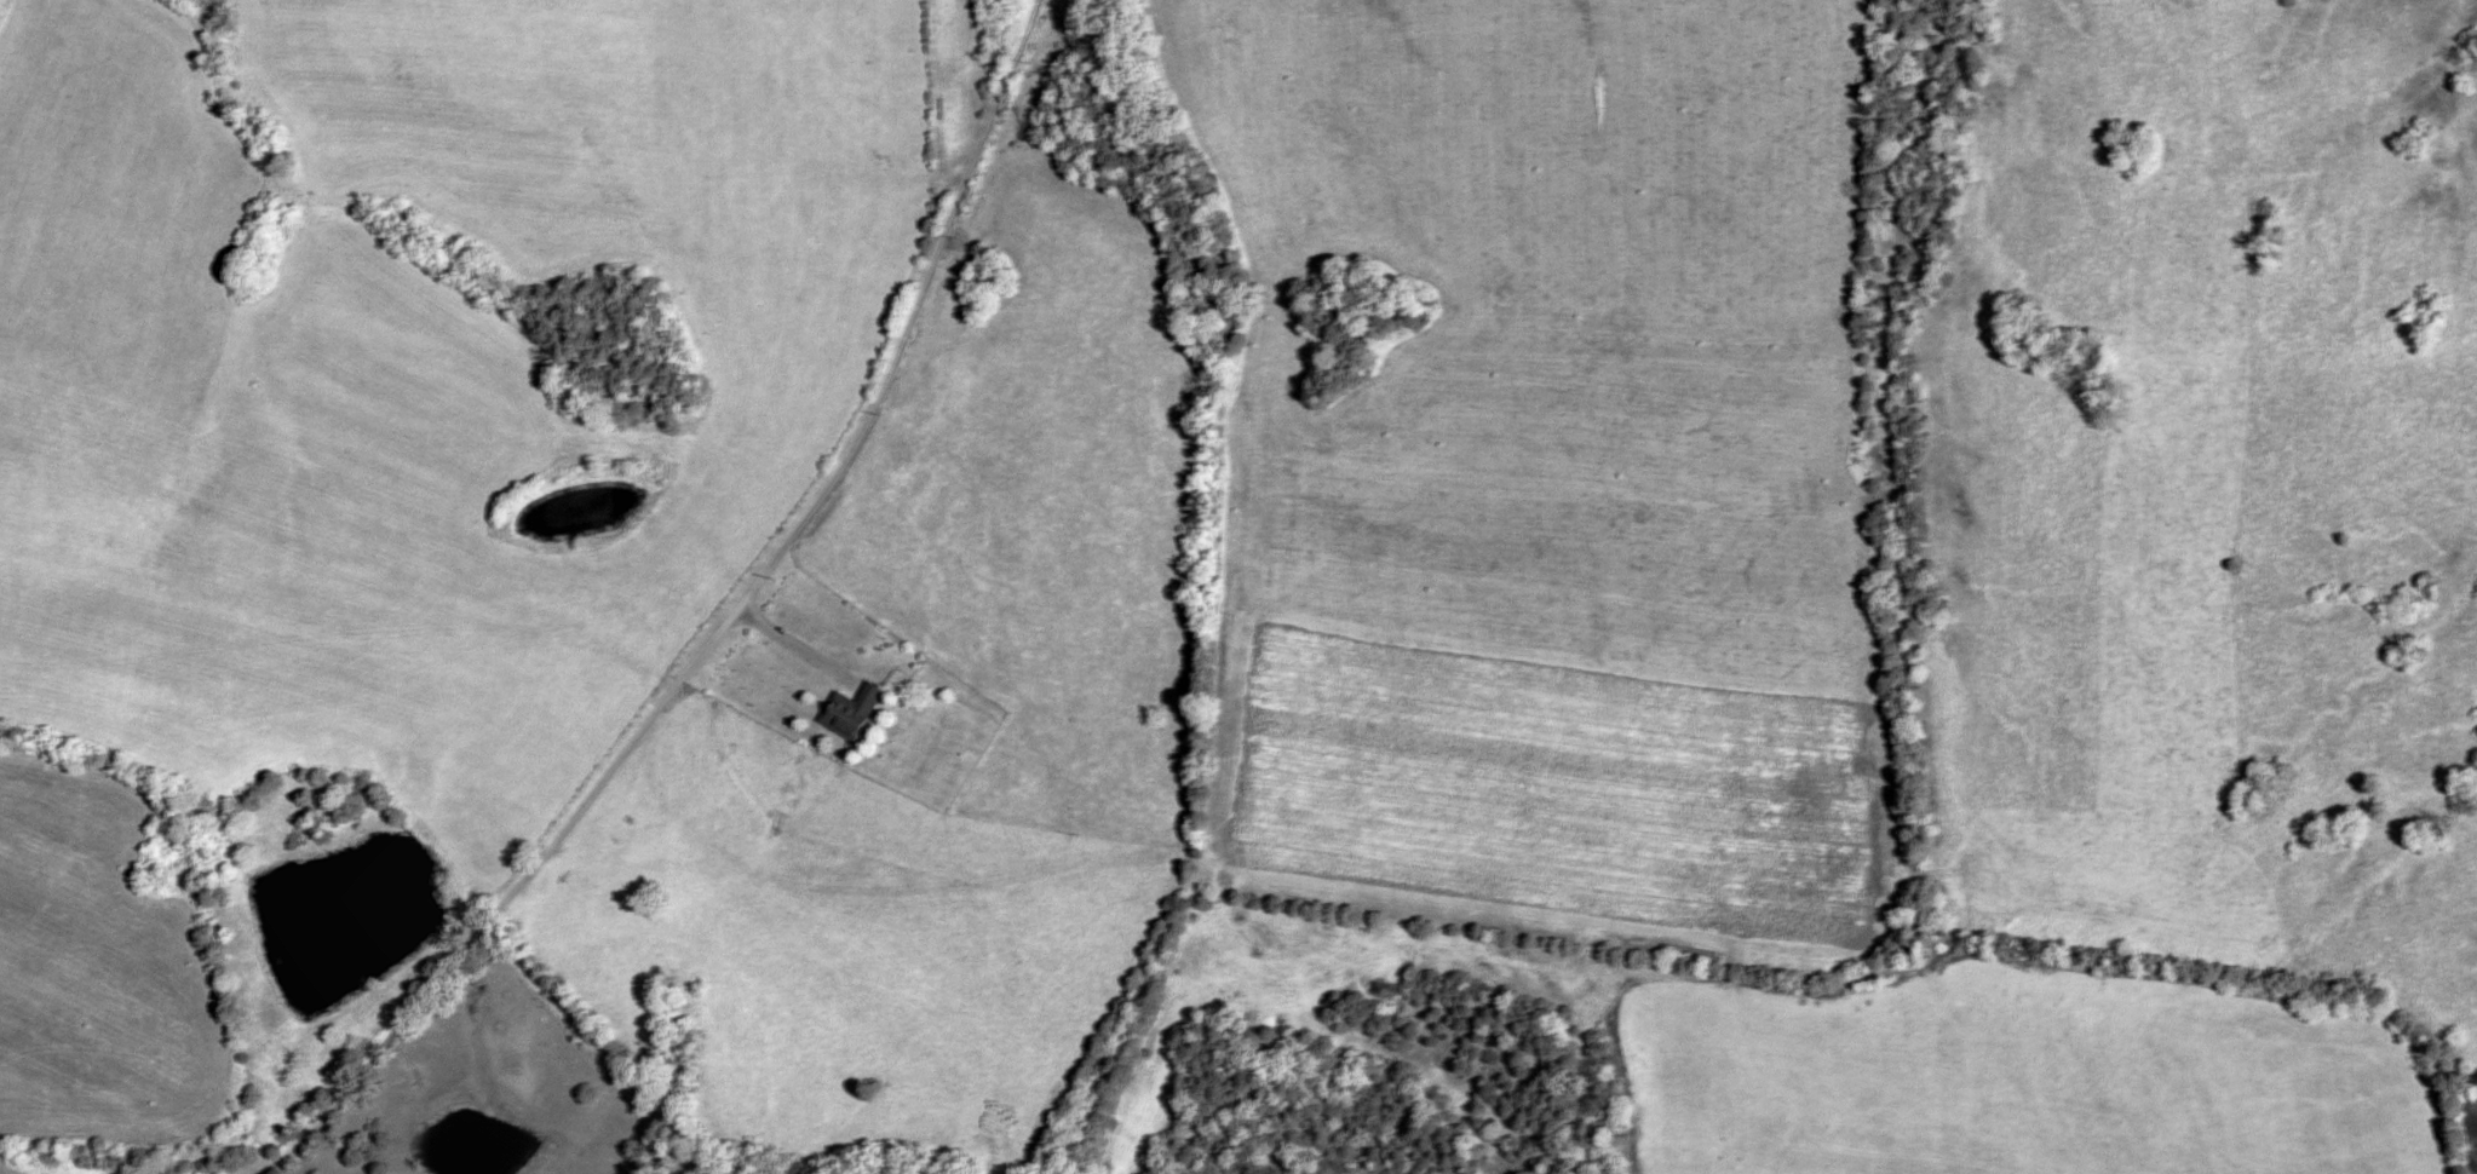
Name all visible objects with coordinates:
building: (856, 712)

